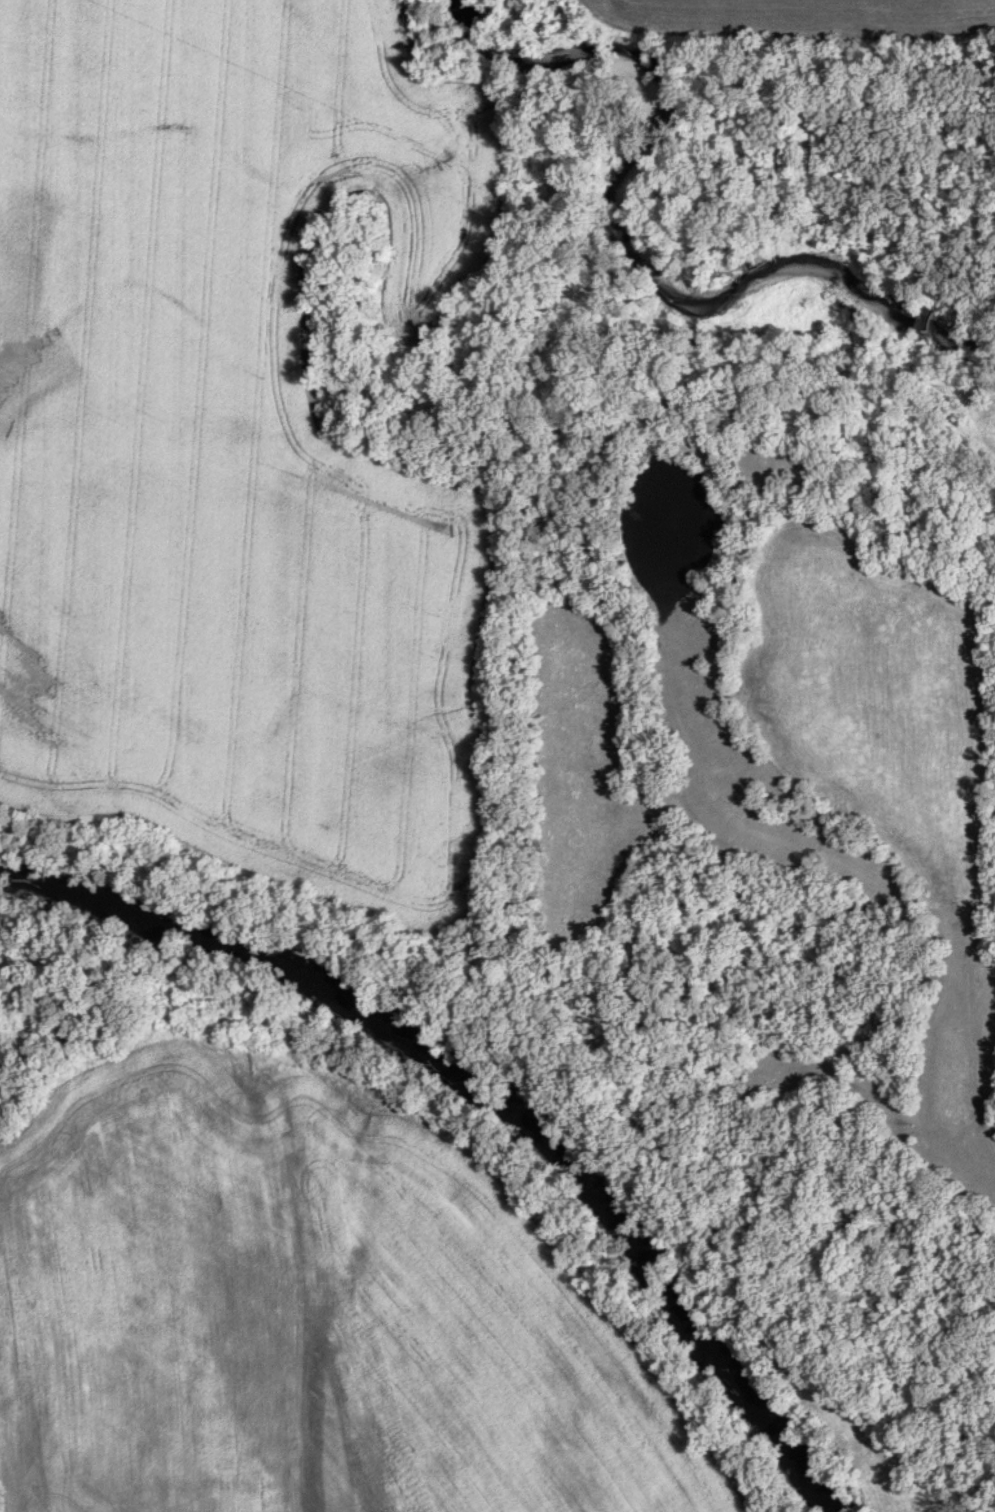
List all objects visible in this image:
river: (493, 1092)

